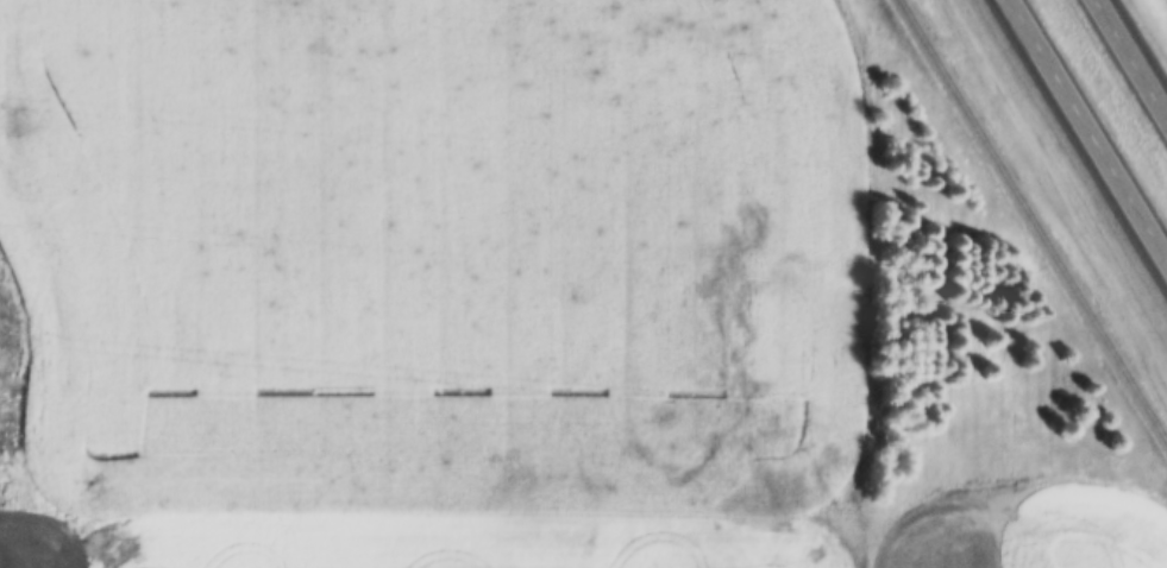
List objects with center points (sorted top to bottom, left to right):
road: (1131, 57)
road: (1090, 127)
railway: (1031, 221)
road: (858, 286)

